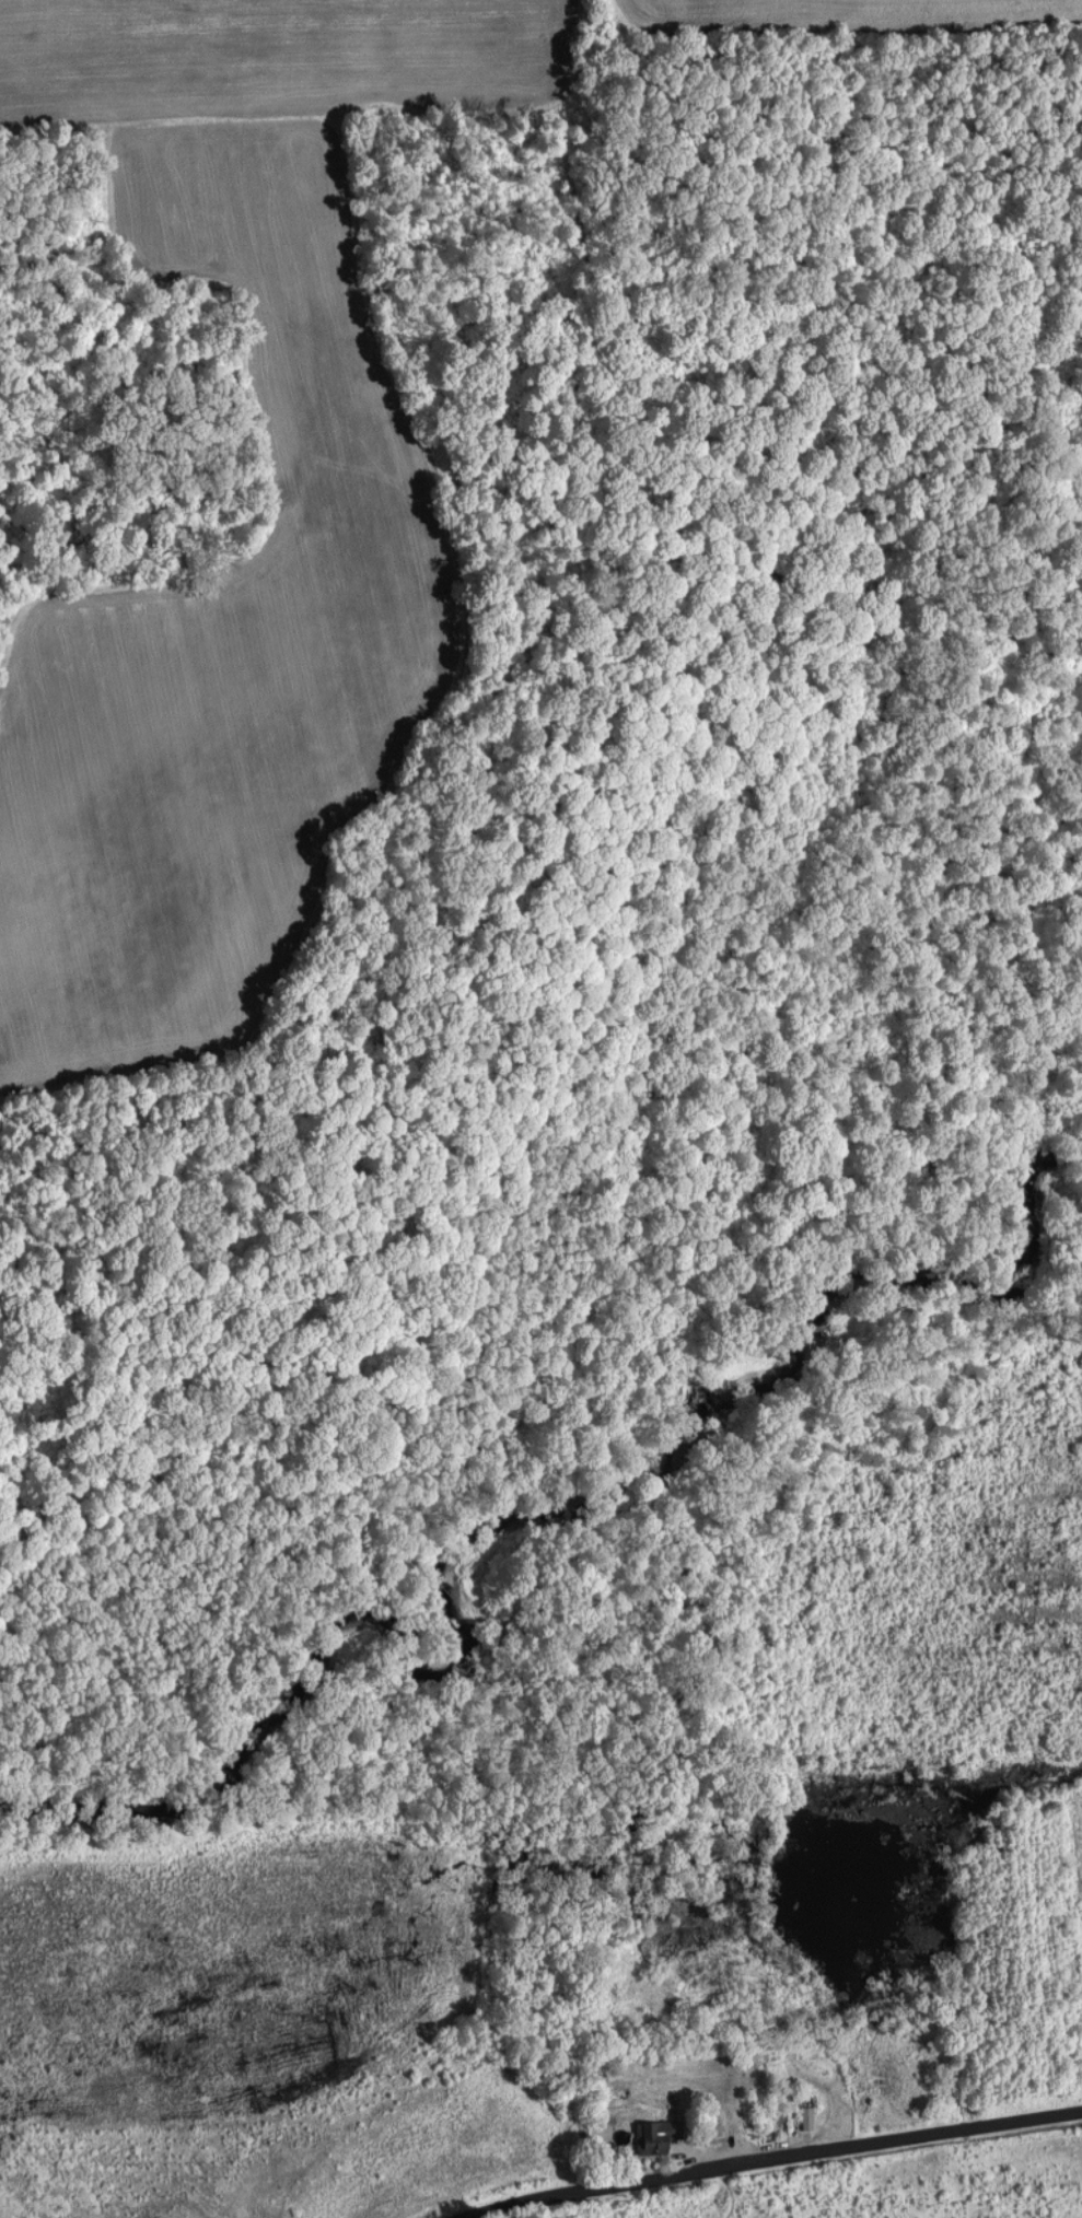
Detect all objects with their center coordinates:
building: (768, 2115)
building: (804, 2118)
building: (654, 2135)
road: (776, 2156)

